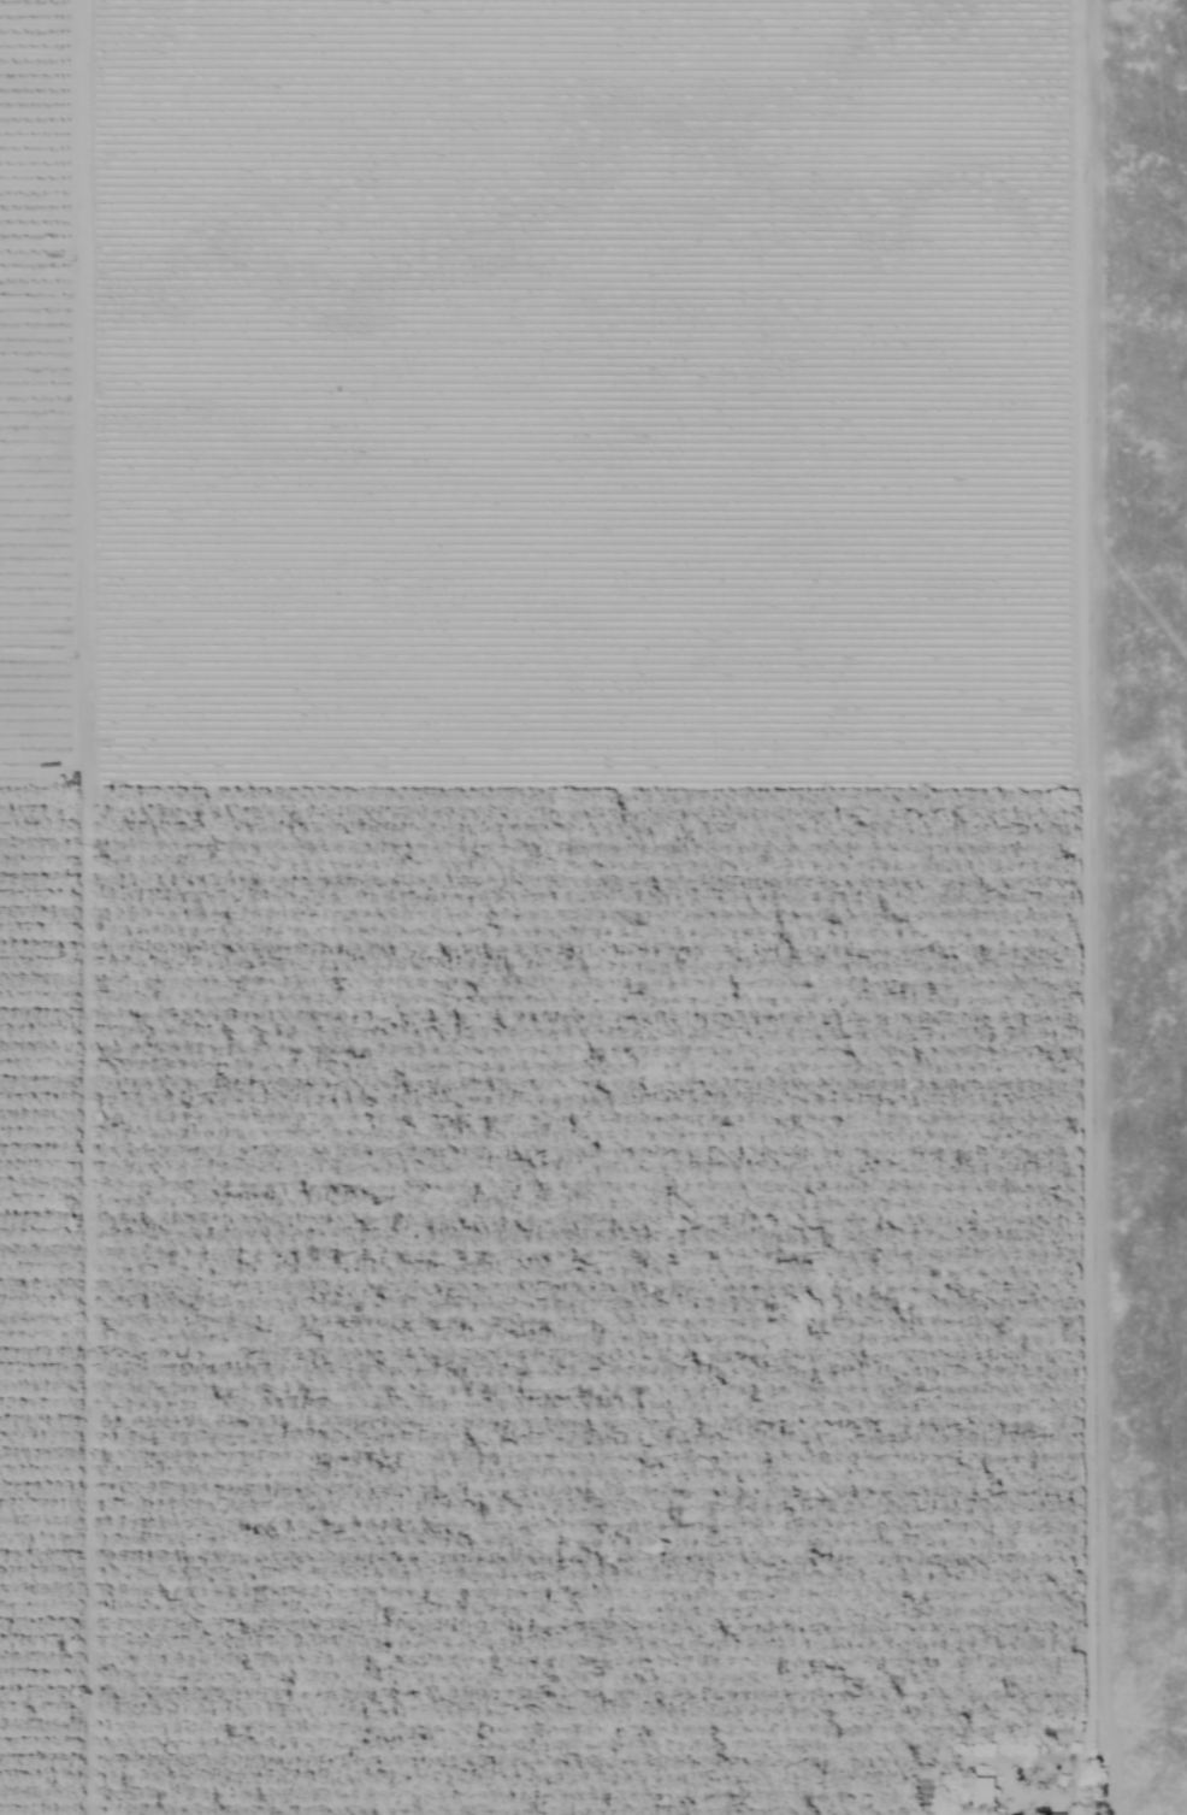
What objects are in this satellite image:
road: (82, 907)
road: (1083, 907)
crop: (553, 911)

